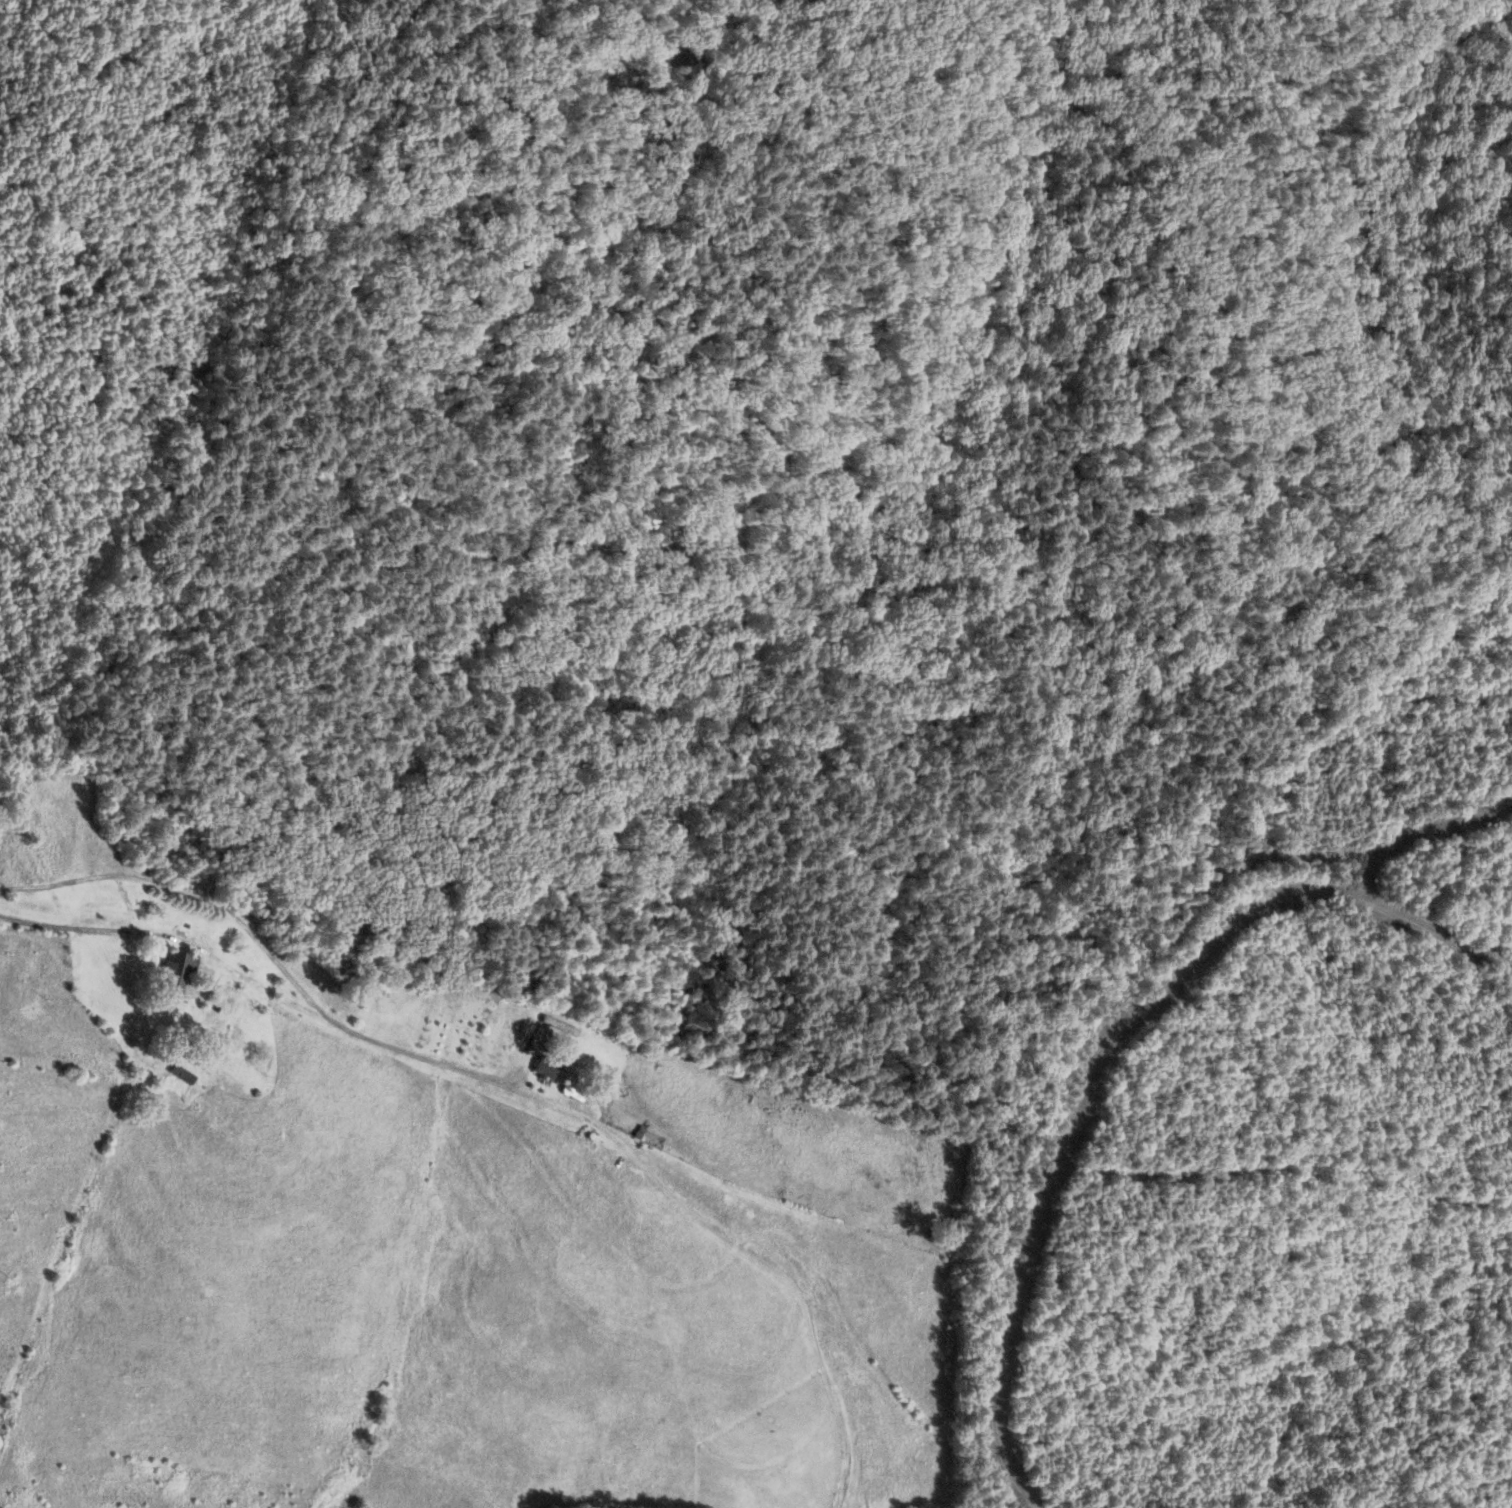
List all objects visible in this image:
road: (232, 968)
building: (168, 971)
building: (544, 1066)
building: (175, 1073)

